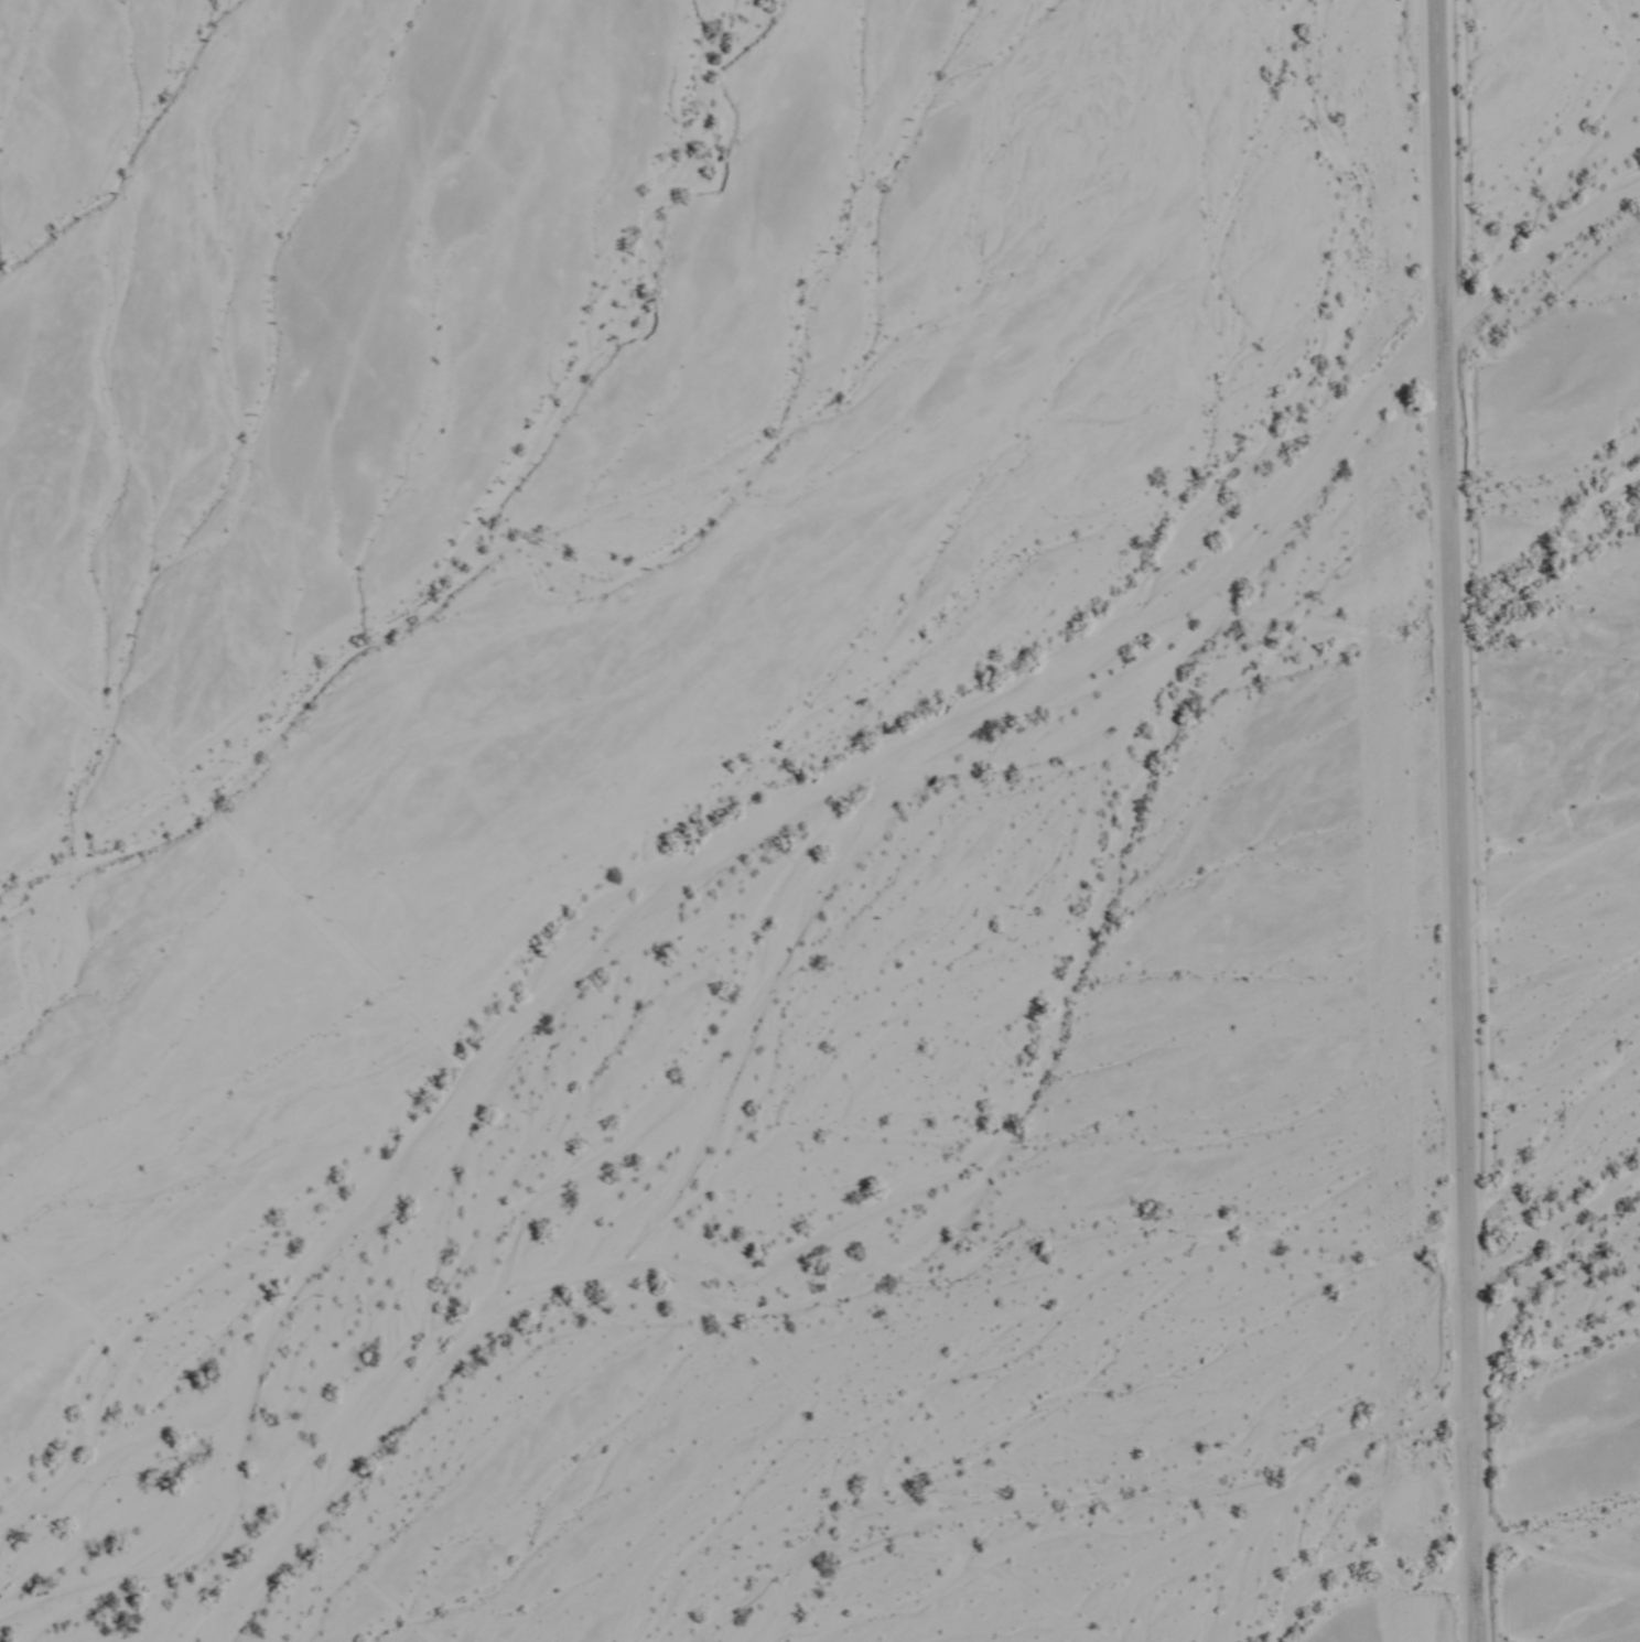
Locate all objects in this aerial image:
road: (1456, 821)

